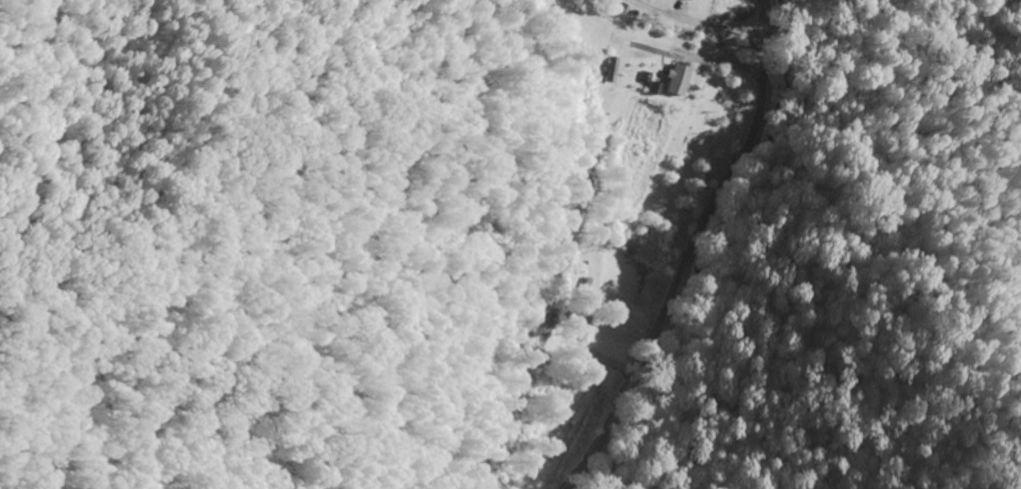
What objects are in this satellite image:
building: (695, 0)
building: (678, 79)
building: (658, 88)
road: (697, 254)
building: (586, 302)

